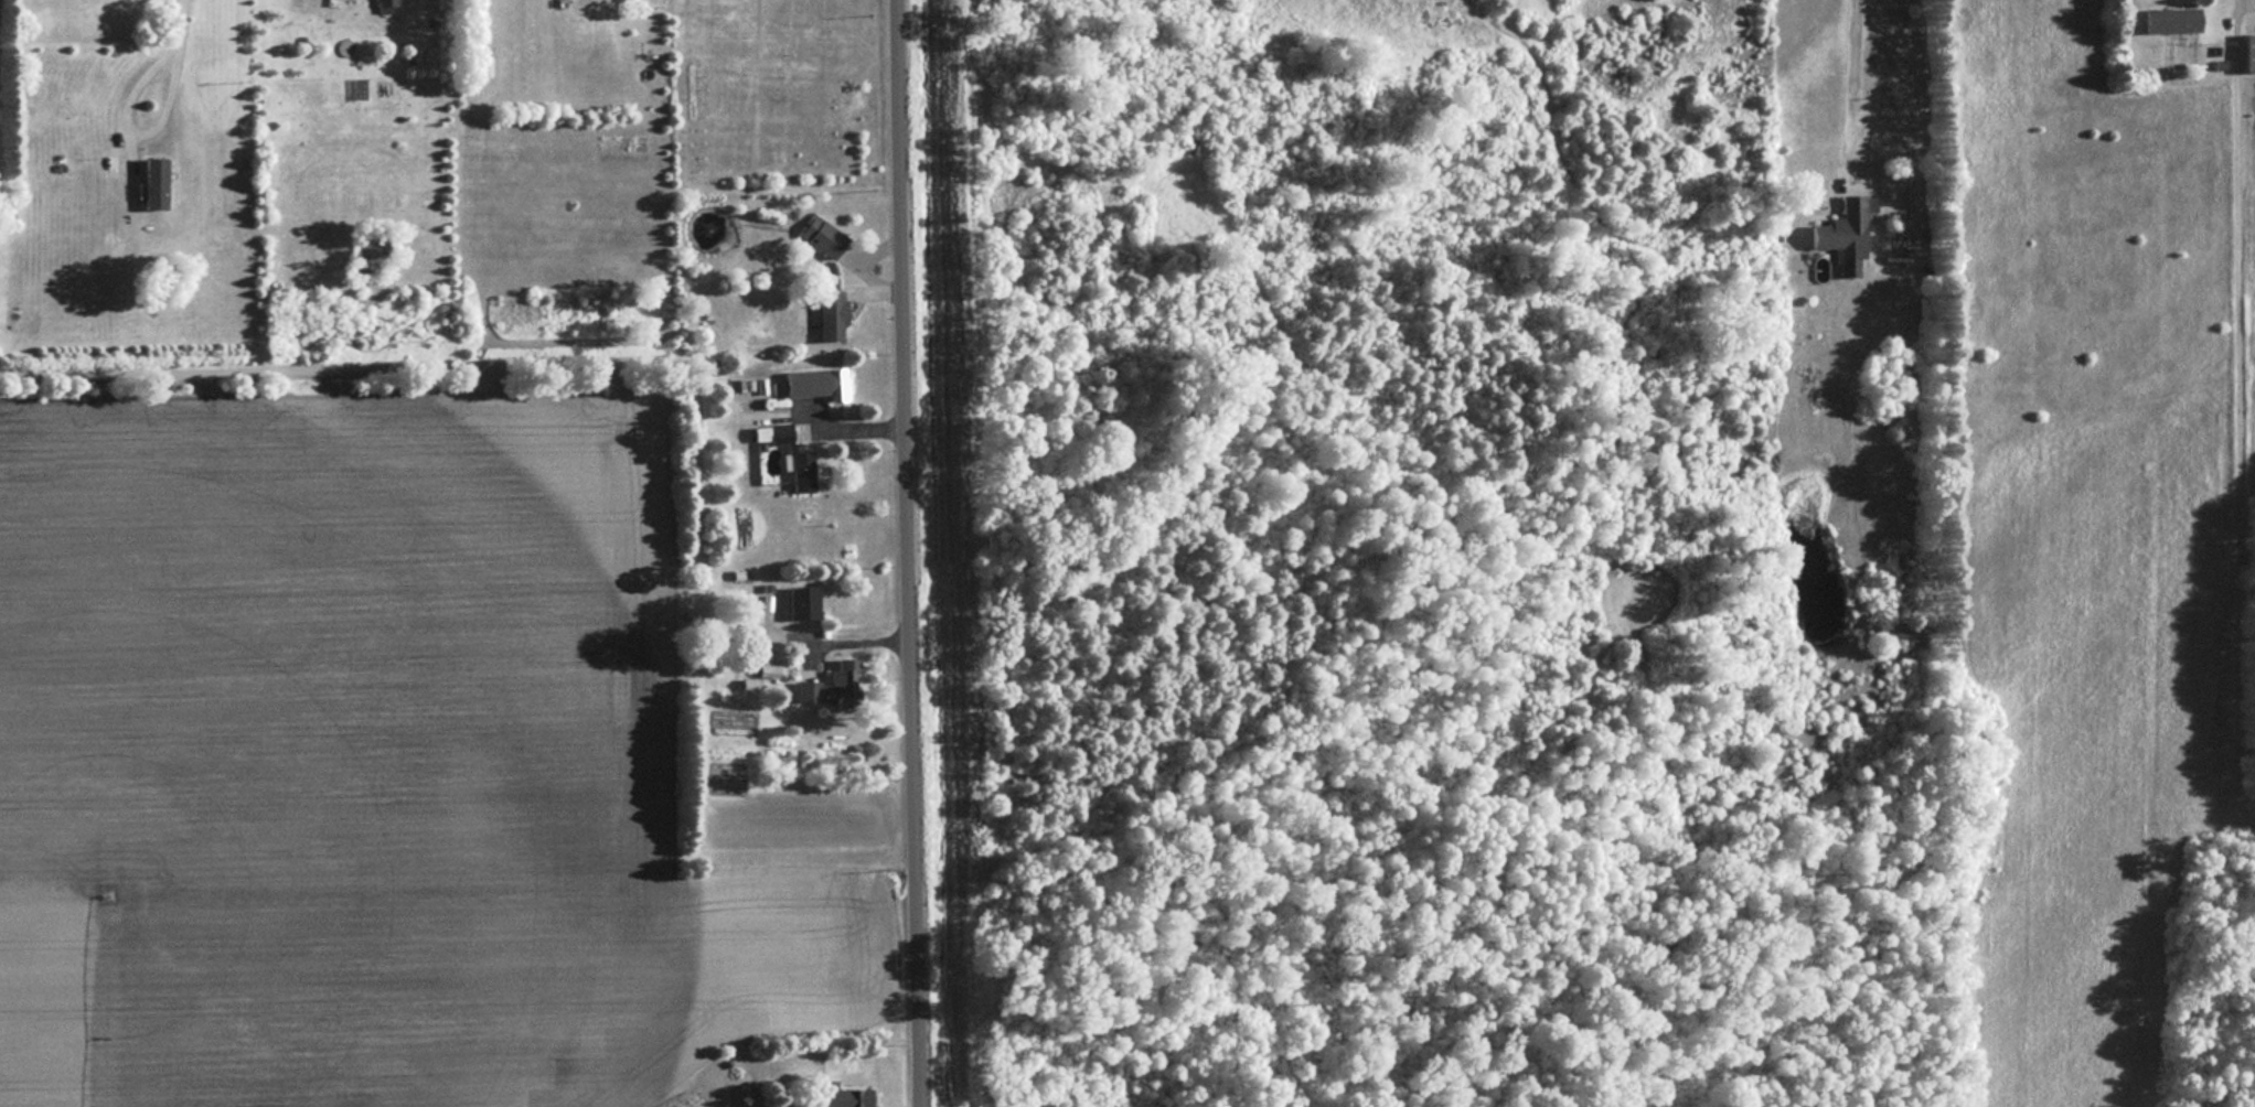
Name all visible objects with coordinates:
building: (385, 6)
road: (180, 13)
building: (2167, 21)
building: (2246, 53)
road: (1855, 80)
building: (1909, 105)
road: (136, 117)
building: (152, 185)
building: (1842, 225)
building: (819, 236)
building: (827, 314)
building: (811, 384)
building: (768, 433)
building: (799, 471)
road: (913, 553)
building: (799, 601)
building: (830, 685)
building: (840, 1096)

